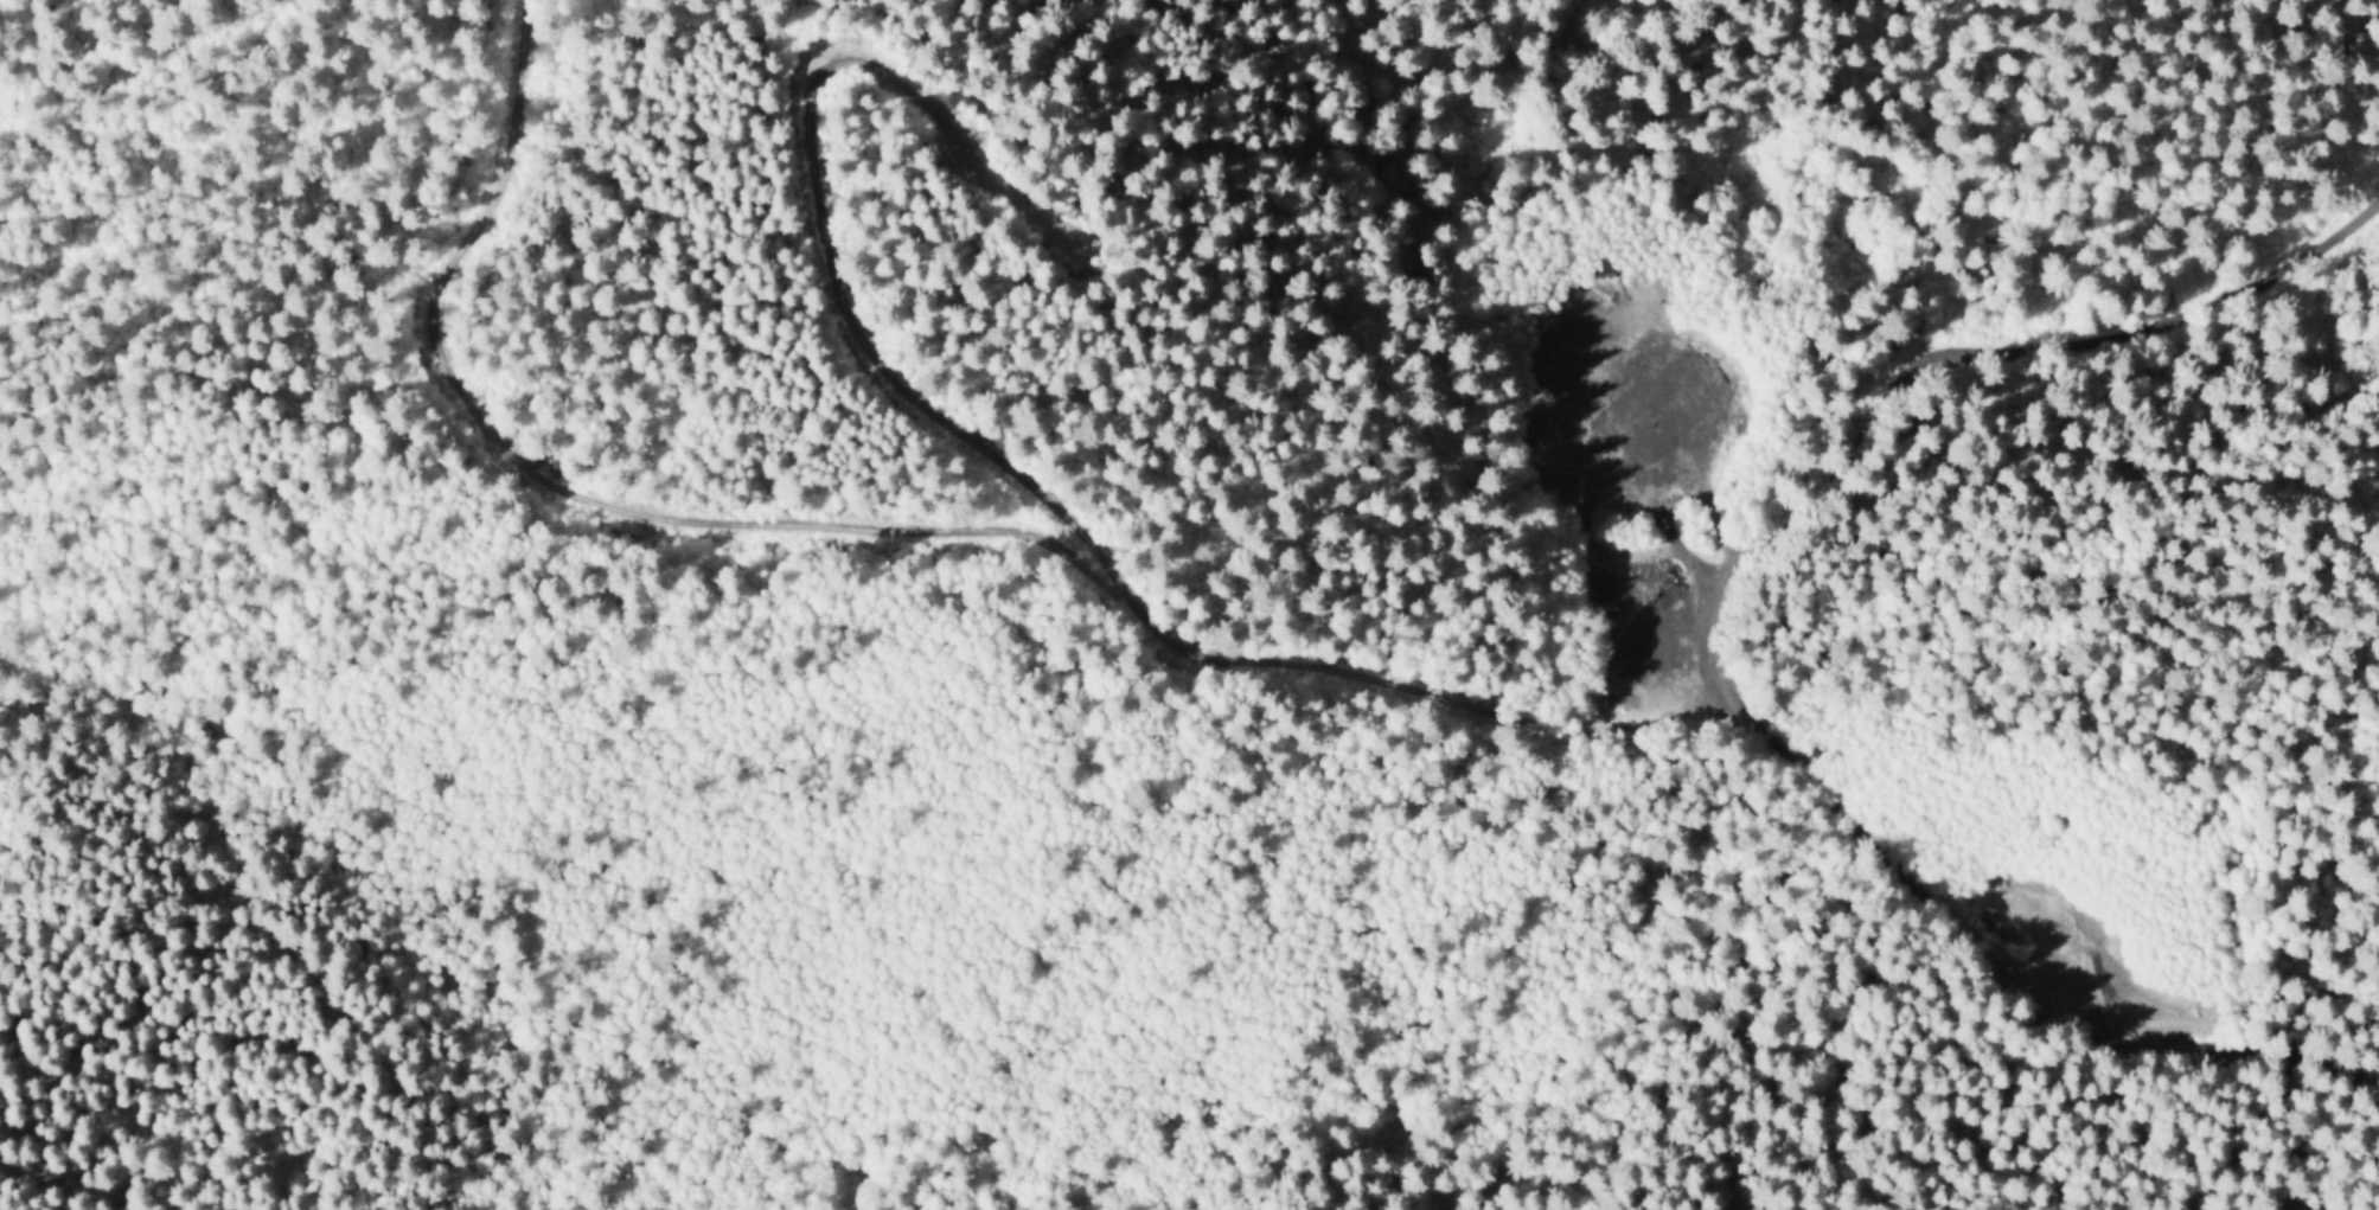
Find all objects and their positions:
road: (996, 459)
road: (567, 486)
road: (1714, 644)

